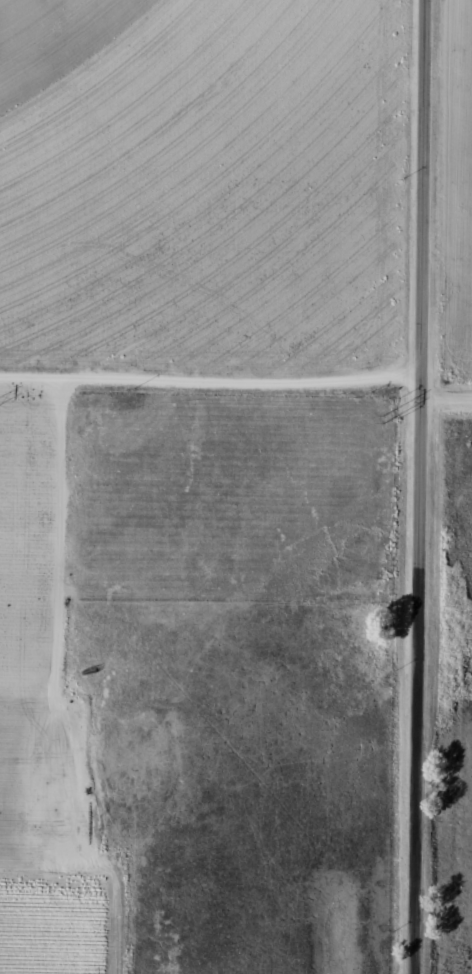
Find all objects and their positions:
road: (206, 412)
road: (442, 414)
road: (412, 486)

